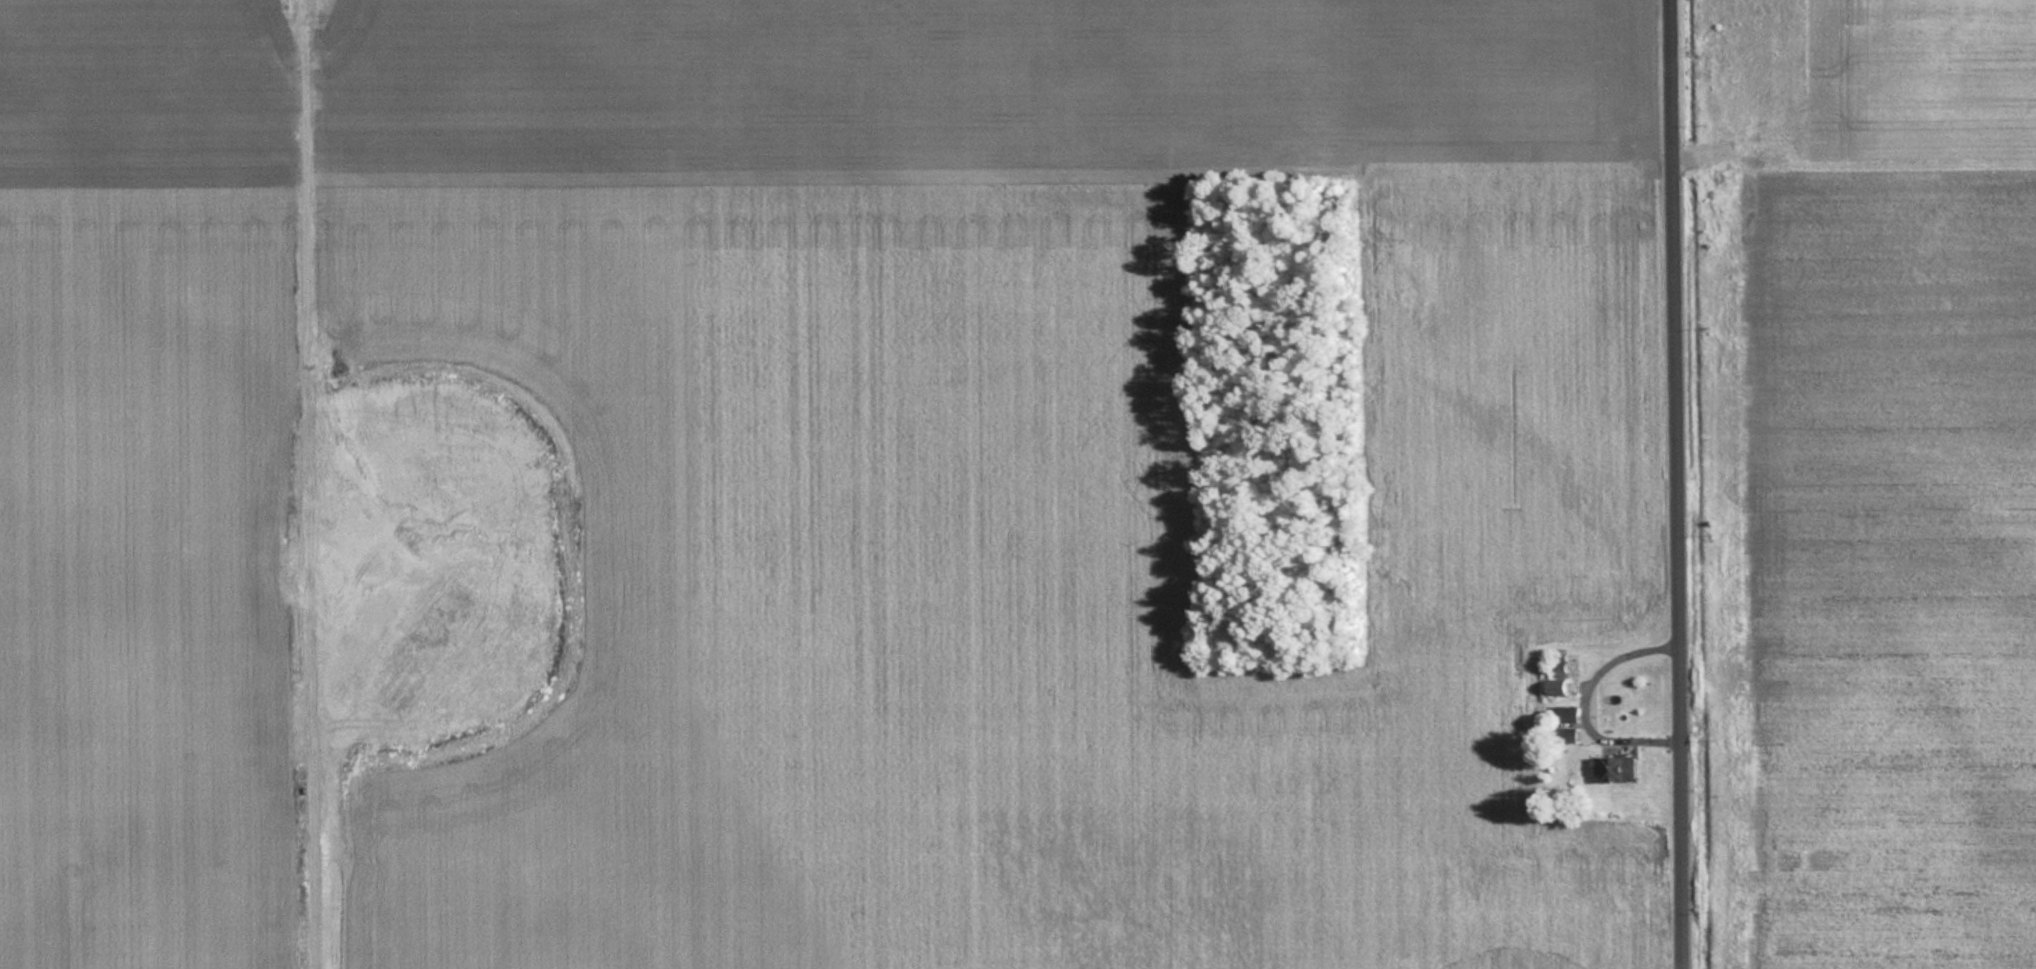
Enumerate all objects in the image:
road: (1679, 484)
building: (1613, 767)

